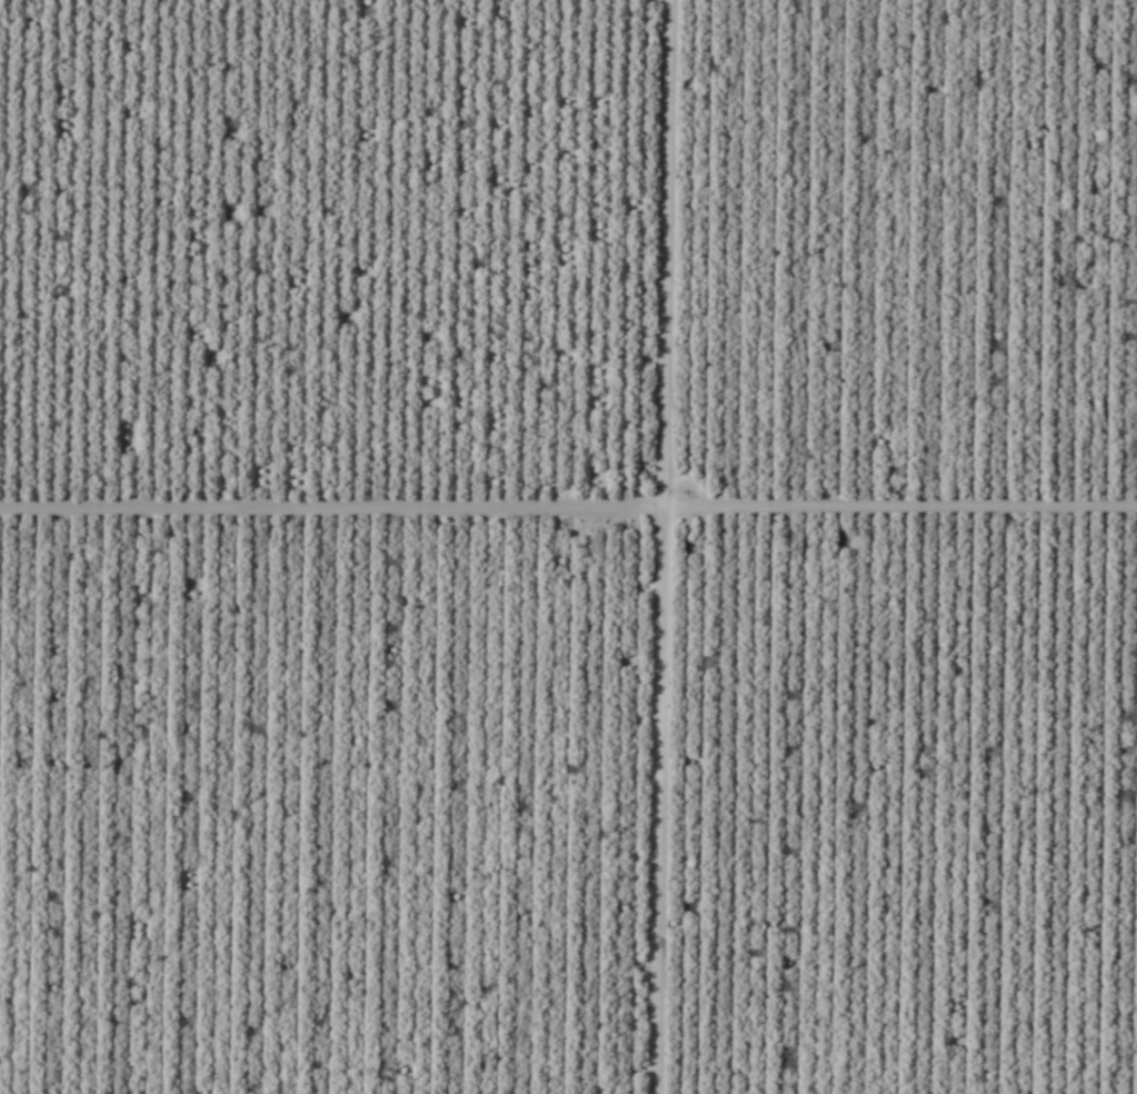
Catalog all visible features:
road: (597, 257)
road: (568, 513)
road: (187, 546)
crop: (568, 547)

